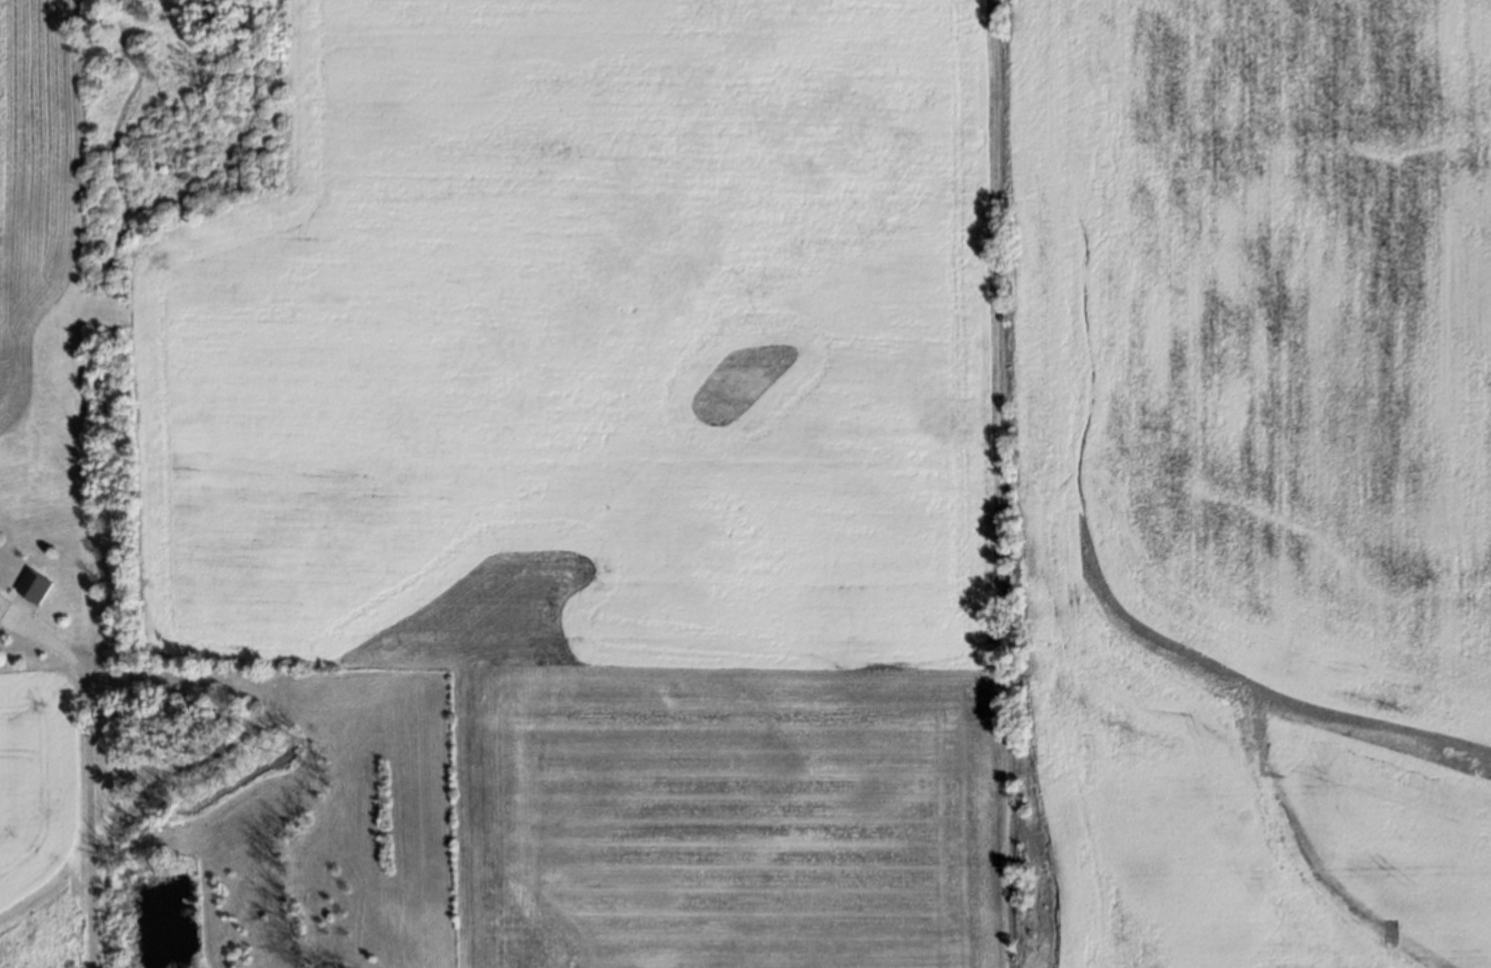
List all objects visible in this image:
building: (31, 583)
road: (81, 767)

